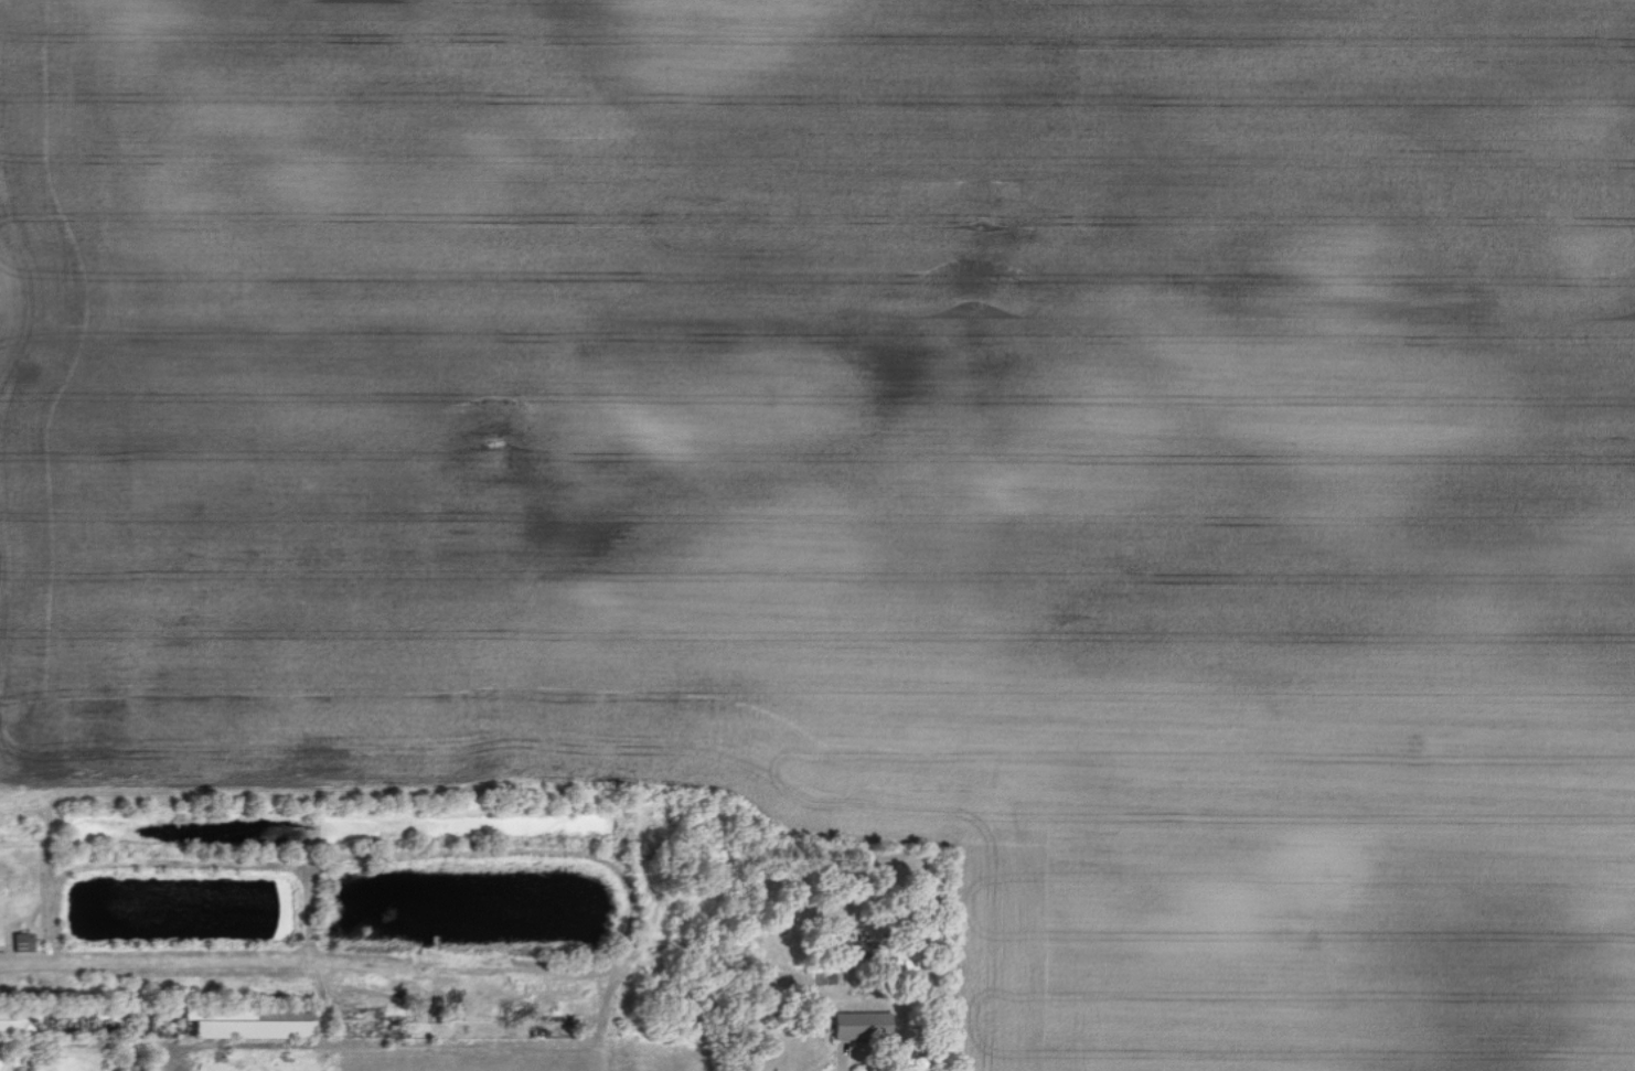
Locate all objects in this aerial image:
building: (22, 941)
building: (858, 1025)
building: (13, 1026)
road: (834, 1059)

